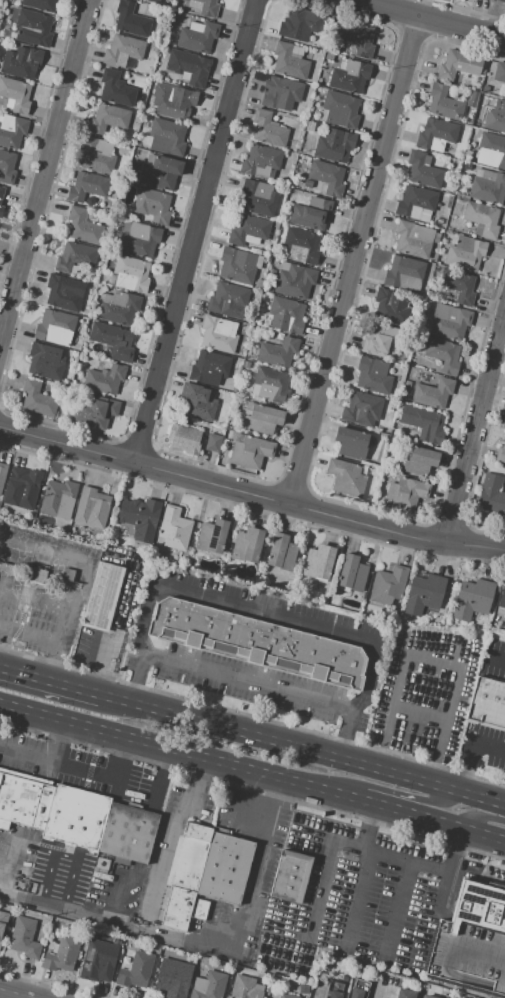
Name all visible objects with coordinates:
building: (501, 0)
building: (154, 1)
building: (39, 4)
building: (209, 7)
building: (131, 18)
road: (431, 19)
building: (300, 25)
building: (33, 27)
building: (198, 36)
building: (356, 37)
building: (123, 49)
building: (21, 62)
building: (289, 62)
building: (459, 65)
building: (189, 68)
building: (499, 72)
building: (350, 76)
building: (116, 88)
building: (485, 89)
building: (281, 93)
building: (15, 95)
building: (176, 102)
building: (444, 102)
building: (340, 109)
building: (496, 117)
building: (108, 119)
building: (268, 128)
building: (11, 131)
building: (437, 135)
building: (165, 137)
building: (334, 144)
building: (491, 150)
building: (96, 154)
building: (260, 161)
building: (7, 166)
building: (422, 169)
road: (44, 173)
building: (162, 173)
building: (327, 177)
building: (308, 184)
building: (86, 186)
building: (487, 186)
building: (1, 192)
building: (258, 198)
building: (416, 203)
building: (153, 205)
building: (1, 209)
building: (311, 213)
building: (482, 219)
building: (277, 224)
building: (83, 226)
building: (248, 230)
road: (196, 232)
building: (139, 239)
building: (415, 239)
building: (301, 246)
building: (465, 253)
building: (75, 258)
road: (354, 260)
building: (237, 265)
building: (129, 274)
building: (405, 274)
building: (295, 281)
building: (459, 285)
building: (62, 294)
building: (227, 299)
building: (391, 306)
building: (119, 307)
building: (286, 314)
building: (449, 322)
building: (56, 328)
building: (219, 334)
building: (112, 339)
building: (382, 340)
building: (278, 352)
building: (443, 354)
building: (45, 361)
building: (246, 364)
building: (209, 367)
building: (373, 375)
building: (105, 379)
building: (271, 384)
building: (63, 390)
building: (433, 393)
building: (38, 398)
building: (197, 401)
building: (362, 408)
building: (95, 412)
building: (262, 418)
building: (504, 425)
building: (428, 426)
road: (474, 430)
building: (229, 432)
building: (186, 438)
building: (213, 442)
building: (350, 442)
building: (251, 452)
building: (501, 453)
building: (418, 461)
building: (2, 475)
building: (346, 477)
building: (24, 487)
building: (405, 493)
road: (251, 494)
building: (491, 494)
building: (59, 498)
building: (92, 508)
building: (140, 517)
building: (174, 528)
building: (212, 535)
building: (248, 544)
building: (281, 551)
building: (318, 562)
building: (352, 573)
building: (68, 574)
building: (37, 576)
building: (388, 585)
building: (424, 592)
building: (101, 598)
building: (472, 598)
building: (501, 603)
road: (65, 605)
road: (265, 615)
road: (140, 619)
building: (504, 620)
road: (112, 627)
building: (258, 643)
road: (434, 652)
road: (496, 659)
road: (141, 665)
road: (373, 673)
road: (52, 677)
road: (248, 682)
road: (133, 687)
road: (117, 695)
building: (488, 703)
road: (421, 707)
road: (351, 709)
road: (344, 742)
road: (57, 743)
road: (318, 749)
road: (470, 751)
road: (162, 769)
road: (78, 770)
road: (252, 773)
road: (253, 789)
road: (401, 795)
building: (23, 802)
building: (76, 817)
road: (482, 818)
building: (128, 833)
road: (171, 840)
building: (189, 857)
road: (3, 865)
building: (225, 868)
road: (257, 869)
parking lot: (67, 874)
building: (291, 877)
road: (55, 887)
road: (108, 904)
building: (177, 908)
building: (199, 909)
building: (3, 924)
road: (116, 925)
building: (25, 937)
building: (473, 941)
building: (66, 953)
building: (97, 960)
building: (136, 970)
building: (171, 978)
building: (344, 979)
road: (54, 983)
building: (209, 986)
building: (246, 988)
building: (359, 989)
building: (334, 990)
building: (405, 993)
road: (13, 994)
building: (287, 995)
building: (427, 996)
building: (320, 997)

